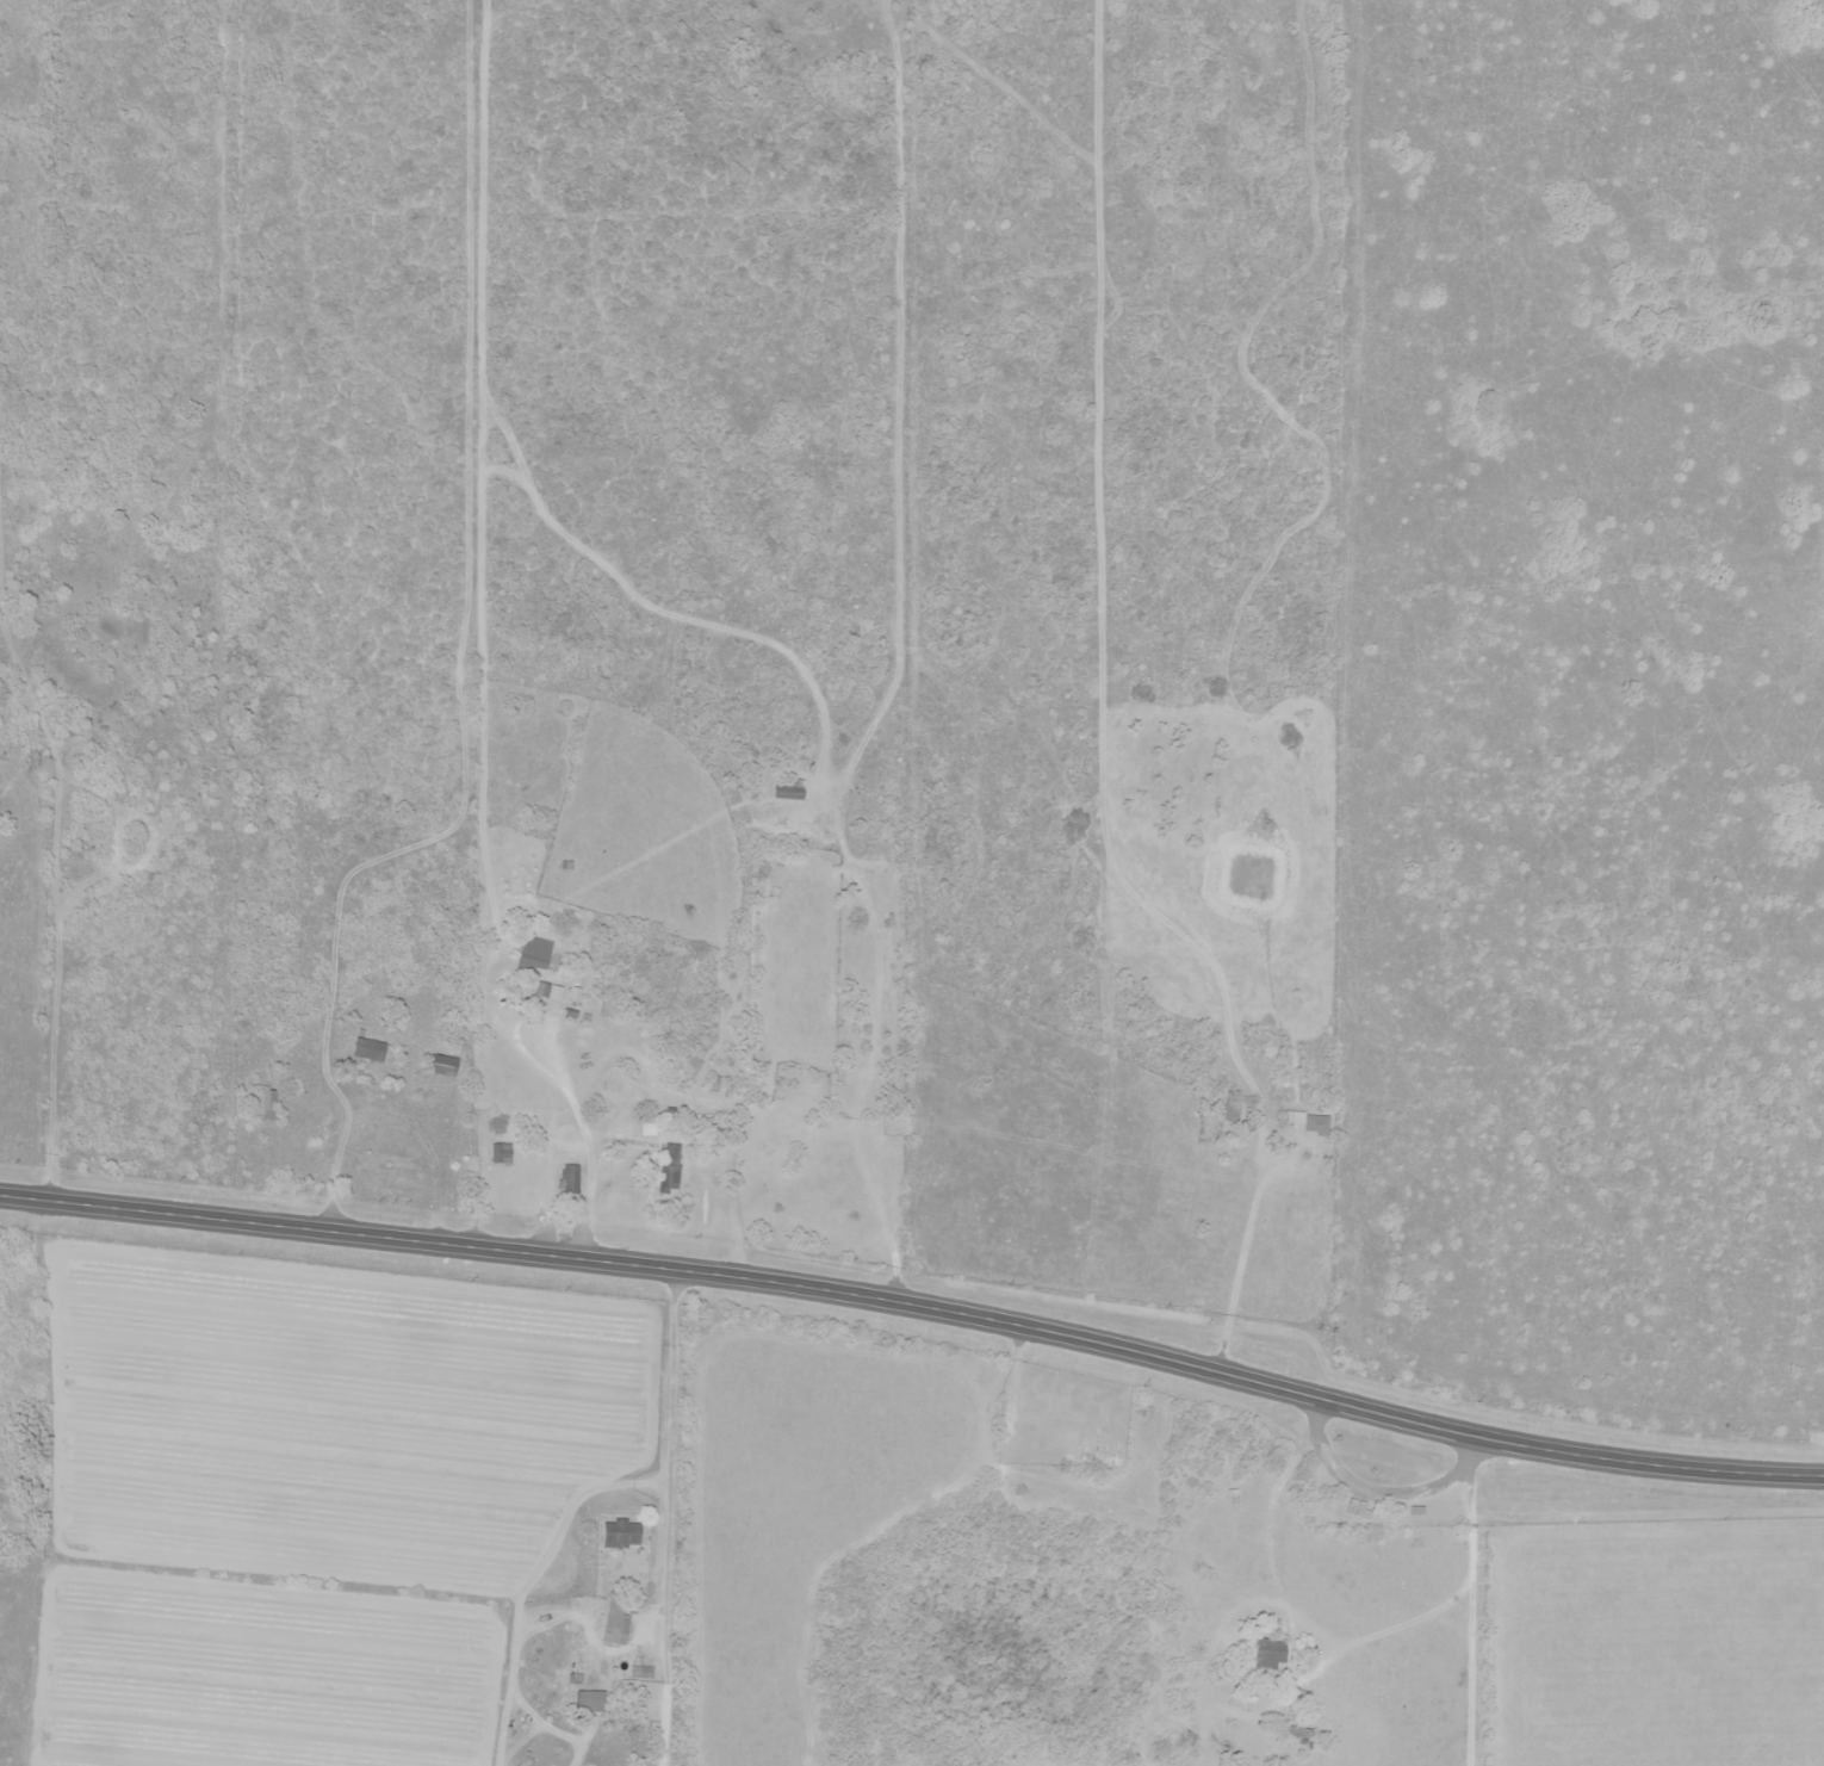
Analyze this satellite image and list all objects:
building: (788, 791)
building: (532, 959)
building: (366, 1051)
building: (441, 1066)
building: (716, 1082)
building: (266, 1104)
building: (1228, 1110)
building: (1314, 1123)
building: (668, 1167)
building: (567, 1179)
road: (914, 1318)
building: (1354, 1507)
road: (570, 1514)
building: (619, 1532)
building: (614, 1618)
building: (1267, 1653)
building: (639, 1672)
building: (588, 1700)

